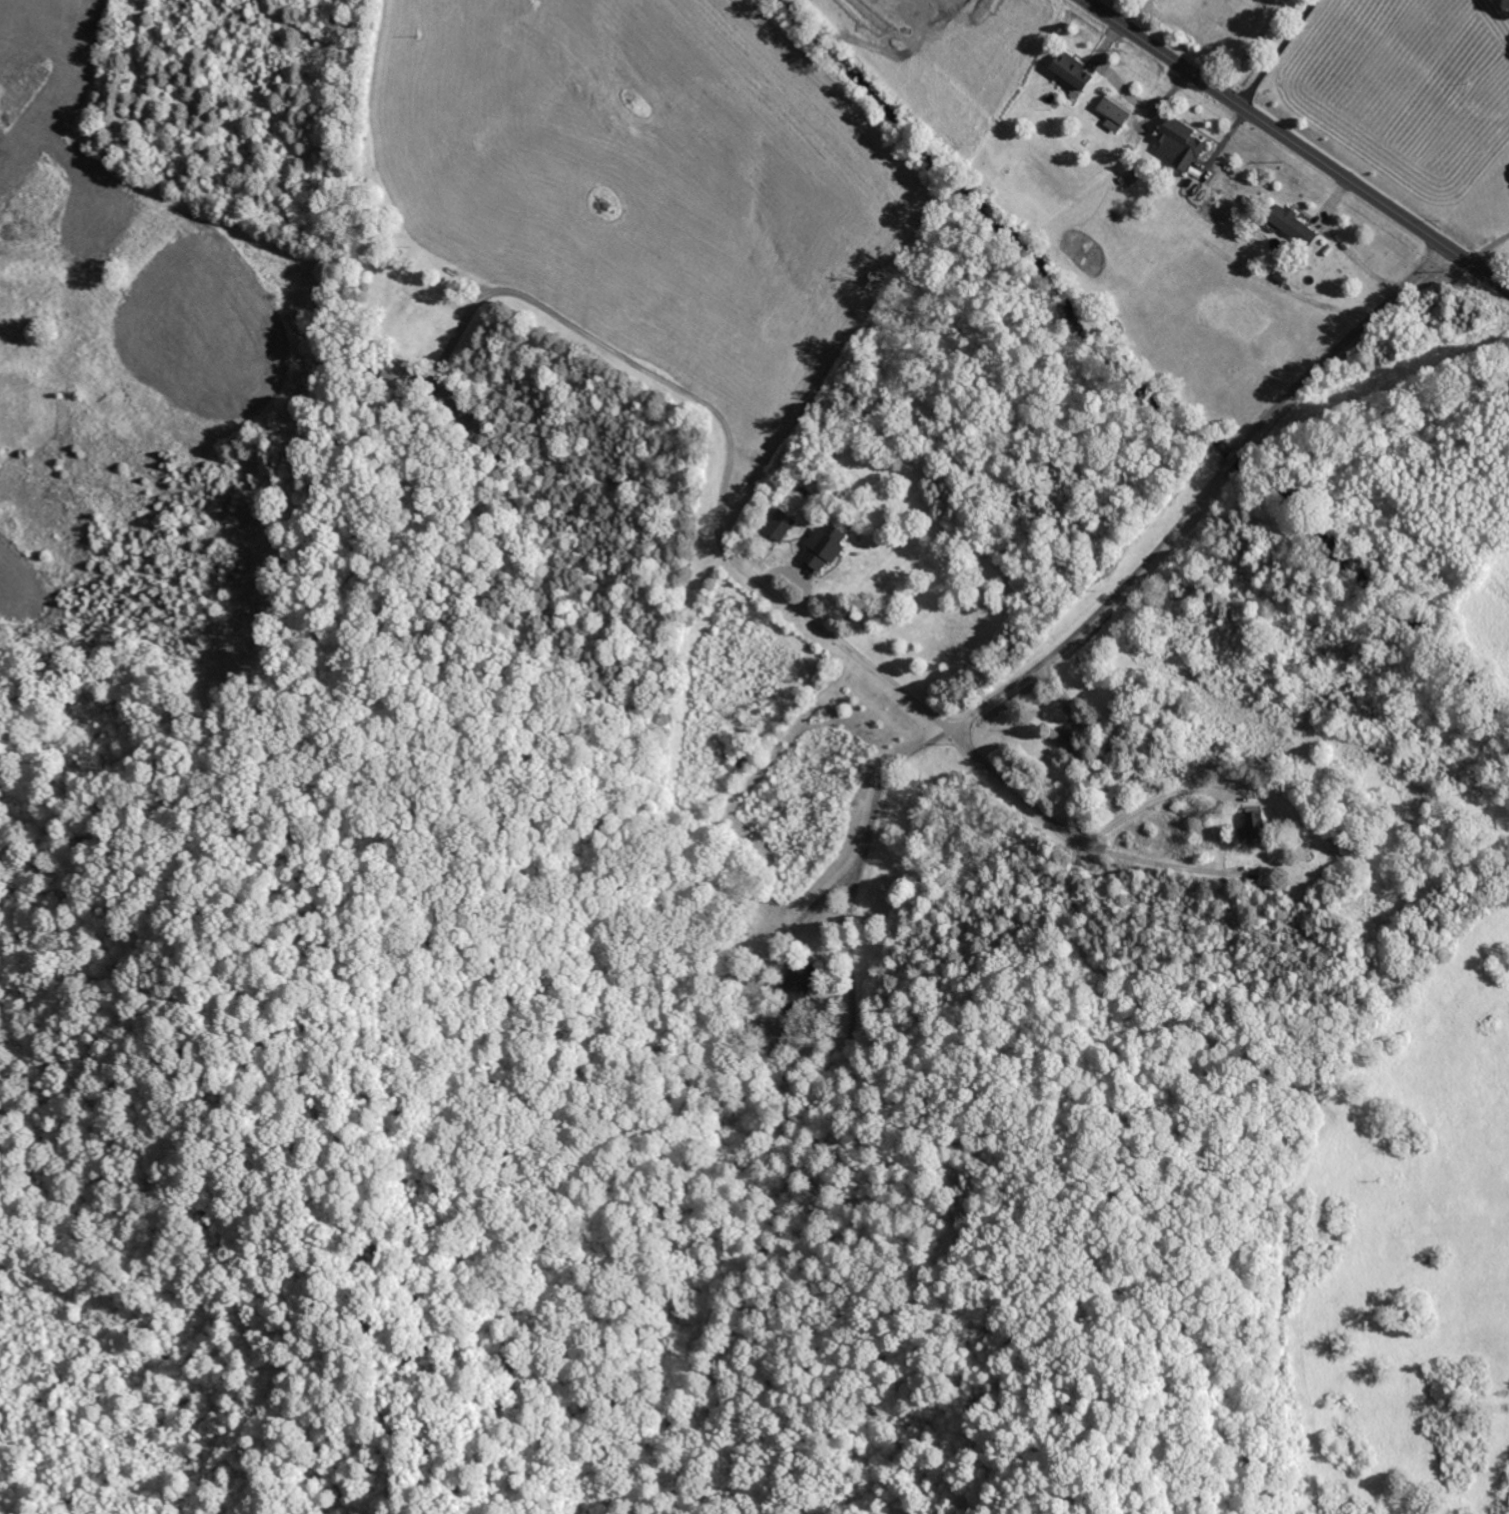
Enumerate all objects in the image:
road: (1252, 46)
road: (1278, 52)
building: (1071, 69)
building: (1113, 113)
building: (1180, 143)
road: (1297, 144)
building: (1293, 223)
road: (732, 470)
building: (780, 523)
building: (825, 544)
road: (1154, 556)
road: (1155, 798)
building: (1254, 824)
road: (870, 832)

